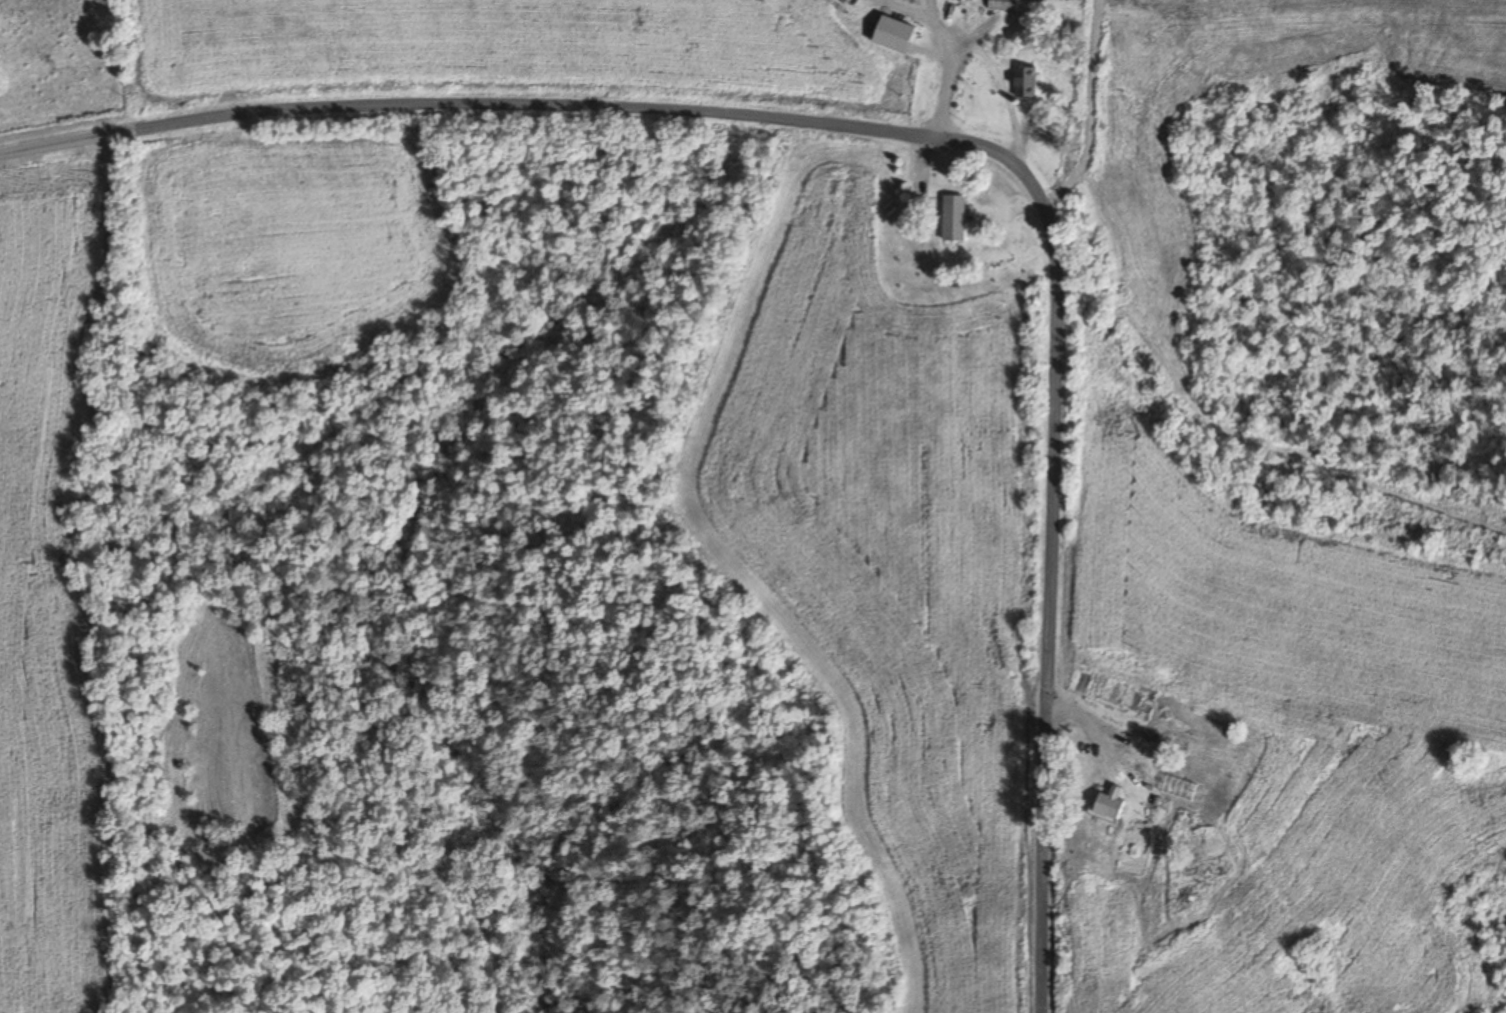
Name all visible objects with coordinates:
building: (1000, 6)
building: (1023, 83)
road: (936, 138)
building: (950, 219)
building: (1286, 745)
building: (1109, 767)

